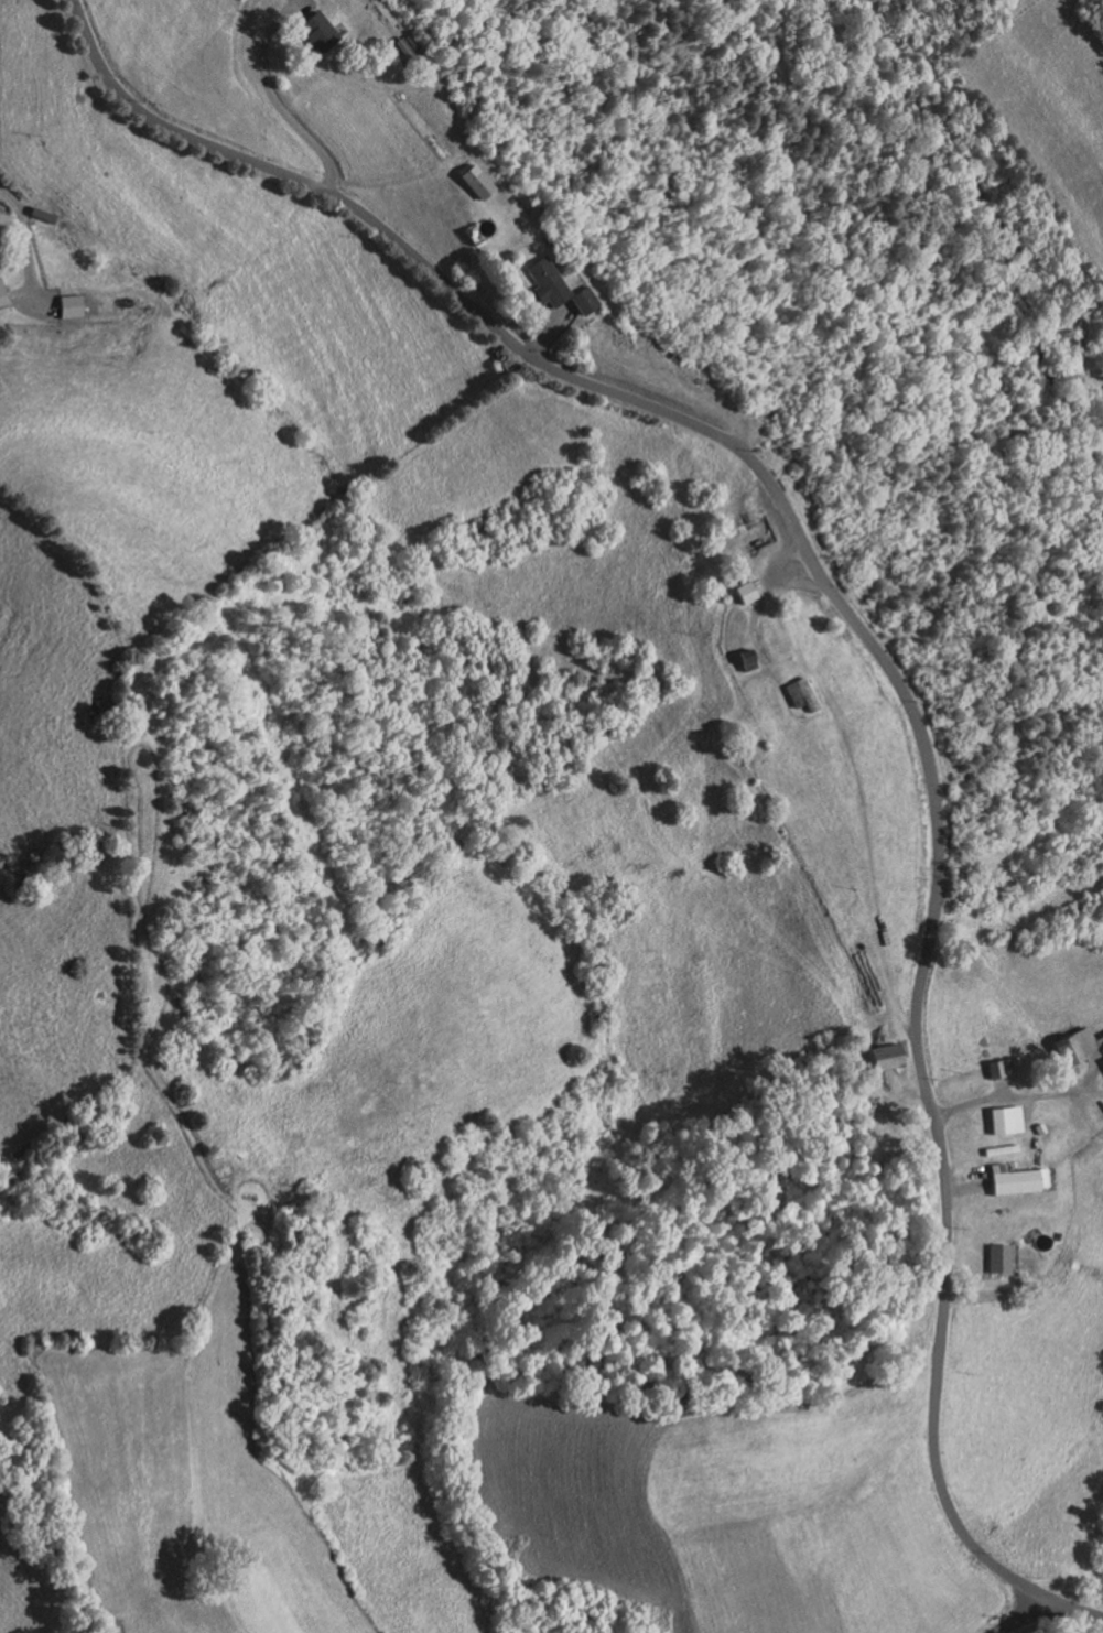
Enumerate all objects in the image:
road: (377, 11)
building: (322, 31)
building: (404, 47)
road: (273, 99)
building: (480, 182)
building: (45, 214)
road: (29, 258)
building: (561, 289)
building: (3, 300)
building: (73, 305)
road: (551, 329)
road: (701, 399)
road: (779, 559)
building: (746, 592)
road: (761, 603)
road: (876, 650)
building: (748, 659)
building: (802, 692)
building: (1075, 1048)
building: (887, 1053)
building: (1012, 1061)
building: (995, 1068)
road: (1017, 1095)
road: (1082, 1106)
building: (1009, 1120)
building: (1035, 1128)
building: (996, 1131)
road: (962, 1176)
building: (1015, 1180)
building: (994, 1258)
road: (998, 1290)
road: (1026, 1616)

